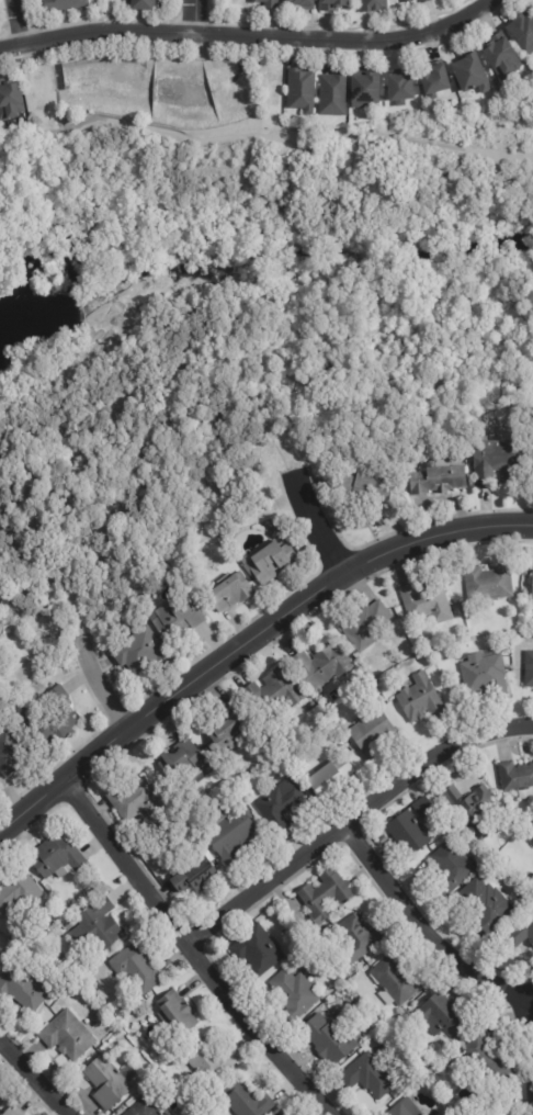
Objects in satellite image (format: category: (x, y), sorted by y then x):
building: (409, 1)
building: (424, 1)
building: (268, 3)
building: (302, 3)
building: (333, 4)
building: (63, 5)
building: (143, 5)
building: (373, 5)
building: (532, 5)
road: (197, 18)
road: (20, 21)
building: (523, 33)
building: (498, 38)
road: (248, 40)
building: (501, 60)
building: (472, 76)
building: (435, 82)
building: (302, 89)
building: (365, 90)
building: (400, 90)
building: (333, 94)
building: (10, 100)
road: (253, 136)
park: (311, 164)
park: (77, 174)
building: (310, 454)
building: (494, 460)
building: (438, 478)
building: (366, 486)
road: (324, 527)
building: (268, 561)
building: (532, 581)
building: (488, 583)
building: (230, 593)
building: (427, 604)
building: (178, 616)
building: (365, 626)
road: (246, 641)
building: (140, 652)
building: (321, 666)
building: (529, 669)
building: (484, 672)
road: (99, 685)
building: (274, 692)
building: (421, 699)
building: (326, 705)
building: (24, 717)
building: (59, 725)
building: (225, 727)
building: (373, 734)
building: (9, 751)
building: (183, 761)
building: (532, 761)
building: (330, 777)
building: (517, 779)
building: (136, 801)
building: (280, 804)
building: (472, 810)
road: (353, 823)
building: (411, 829)
building: (529, 834)
building: (230, 835)
building: (57, 858)
building: (452, 869)
building: (195, 879)
building: (18, 891)
building: (325, 897)
building: (485, 906)
building: (99, 923)
road: (424, 932)
building: (522, 933)
building: (358, 939)
building: (257, 951)
road: (196, 954)
building: (137, 967)
building: (396, 982)
building: (21, 989)
building: (293, 996)
building: (178, 1013)
building: (441, 1016)
building: (67, 1036)
building: (329, 1039)
building: (209, 1062)
building: (485, 1063)
building: (371, 1077)
road: (33, 1081)
building: (109, 1082)
building: (1, 1094)
building: (245, 1100)
building: (405, 1107)
building: (143, 1108)
building: (13, 1111)
building: (281, 1113)
building: (0, 1114)
building: (167, 1114)

